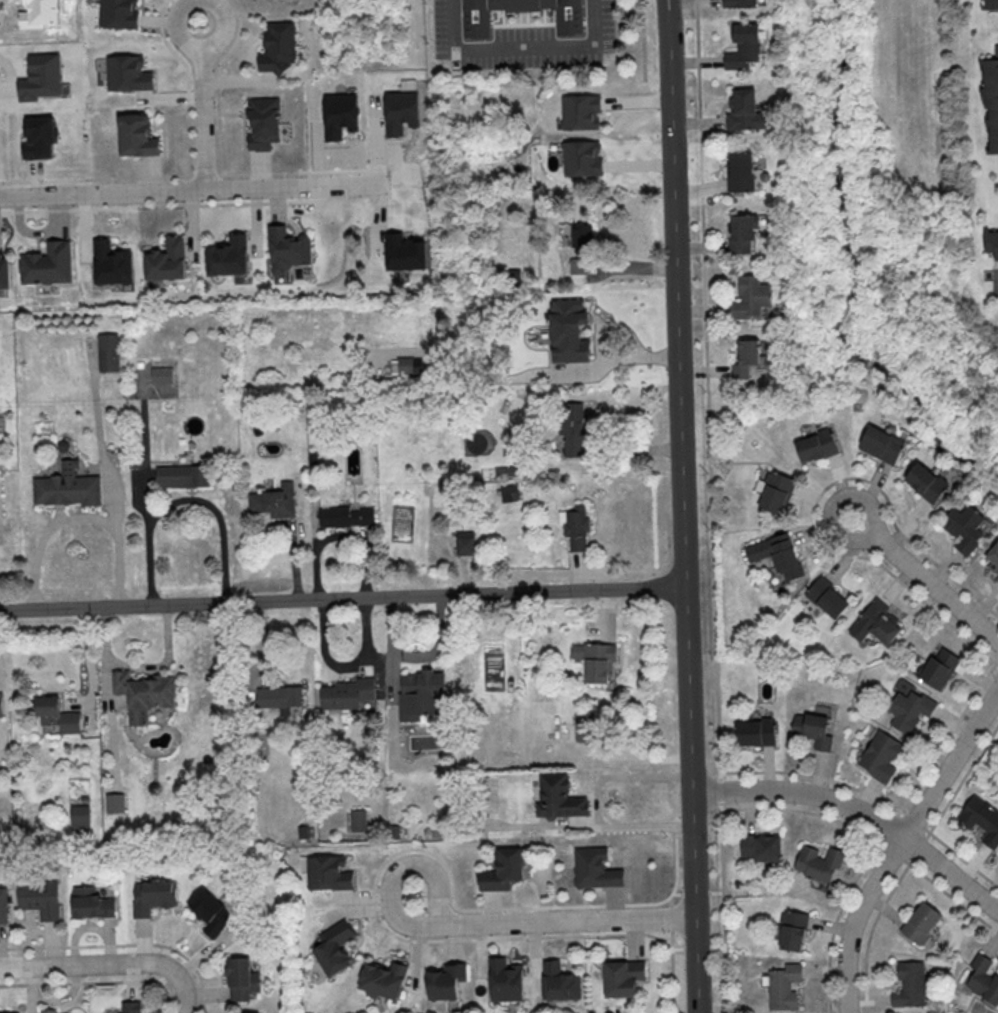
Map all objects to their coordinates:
building: (739, 3)
building: (989, 4)
building: (120, 13)
building: (567, 23)
road: (185, 32)
road: (643, 40)
building: (743, 46)
building: (279, 47)
road: (521, 47)
building: (129, 73)
building: (43, 78)
building: (991, 99)
building: (743, 110)
building: (578, 112)
road: (202, 115)
building: (263, 122)
building: (137, 135)
building: (40, 137)
building: (579, 159)
building: (741, 171)
road: (338, 184)
road: (147, 192)
building: (742, 233)
building: (582, 236)
building: (992, 242)
building: (288, 249)
building: (230, 256)
building: (164, 262)
building: (47, 263)
building: (110, 265)
building: (580, 266)
building: (4, 271)
road: (997, 274)
building: (750, 296)
building: (567, 332)
building: (108, 352)
building: (746, 357)
building: (163, 375)
building: (572, 428)
building: (881, 443)
building: (816, 446)
road: (631, 449)
building: (182, 475)
building: (927, 482)
building: (67, 486)
building: (776, 492)
road: (183, 500)
building: (272, 503)
road: (812, 504)
road: (682, 506)
road: (712, 506)
building: (344, 516)
road: (77, 517)
building: (574, 526)
building: (963, 527)
road: (337, 536)
building: (464, 545)
building: (777, 553)
road: (291, 558)
building: (993, 558)
road: (578, 570)
building: (997, 579)
road: (926, 580)
building: (828, 597)
road: (342, 598)
road: (606, 616)
building: (874, 622)
road: (260, 645)
building: (594, 659)
road: (344, 667)
building: (937, 668)
road: (89, 669)
building: (142, 693)
building: (345, 693)
building: (421, 694)
building: (278, 696)
building: (0, 705)
building: (908, 709)
building: (56, 714)
building: (812, 729)
building: (583, 731)
building: (756, 731)
building: (879, 756)
building: (483, 789)
road: (871, 795)
building: (557, 796)
building: (114, 802)
road: (595, 803)
road: (858, 812)
building: (81, 817)
building: (357, 820)
building: (981, 820)
road: (887, 829)
road: (871, 839)
road: (899, 844)
building: (761, 847)
road: (917, 848)
building: (818, 863)
building: (594, 868)
road: (395, 870)
building: (502, 870)
building: (330, 873)
building: (152, 896)
building: (38, 898)
building: (90, 903)
building: (3, 906)
building: (211, 911)
road: (568, 921)
building: (919, 922)
road: (669, 924)
building: (792, 930)
road: (123, 944)
building: (332, 947)
road: (89, 964)
building: (622, 977)
building: (241, 978)
building: (983, 979)
building: (383, 980)
building: (504, 980)
road: (95, 981)
building: (444, 981)
building: (558, 981)
building: (909, 984)
building: (782, 987)
road: (182, 993)
road: (864, 998)
building: (130, 1007)
building: (49, 1010)
building: (5, 1012)

